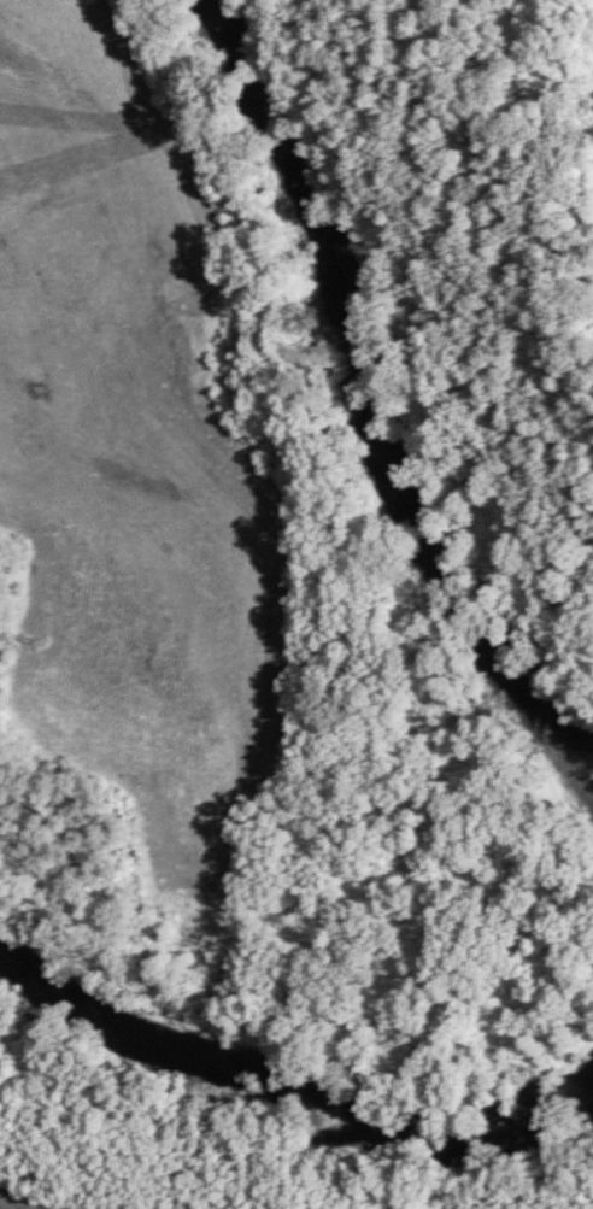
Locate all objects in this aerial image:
river: (358, 406)
river: (283, 1099)

